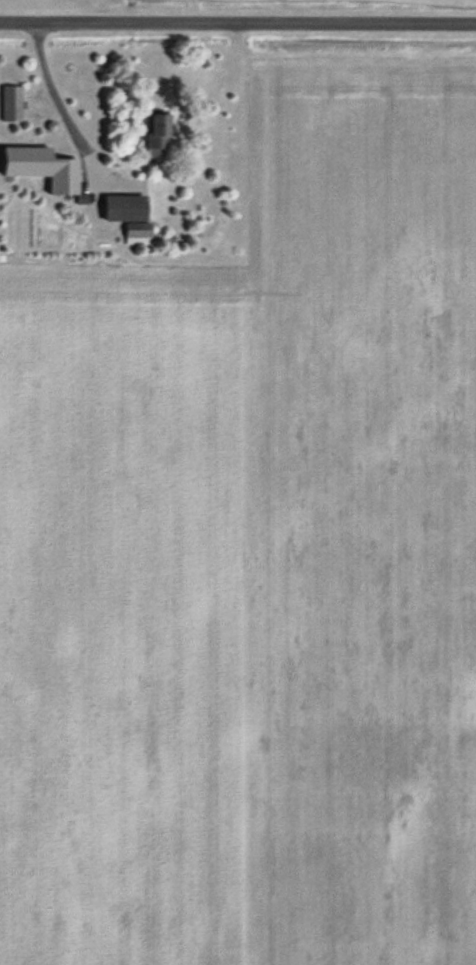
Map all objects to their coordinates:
road: (238, 20)
building: (10, 103)
road: (58, 103)
building: (153, 135)
building: (39, 168)
building: (125, 216)

